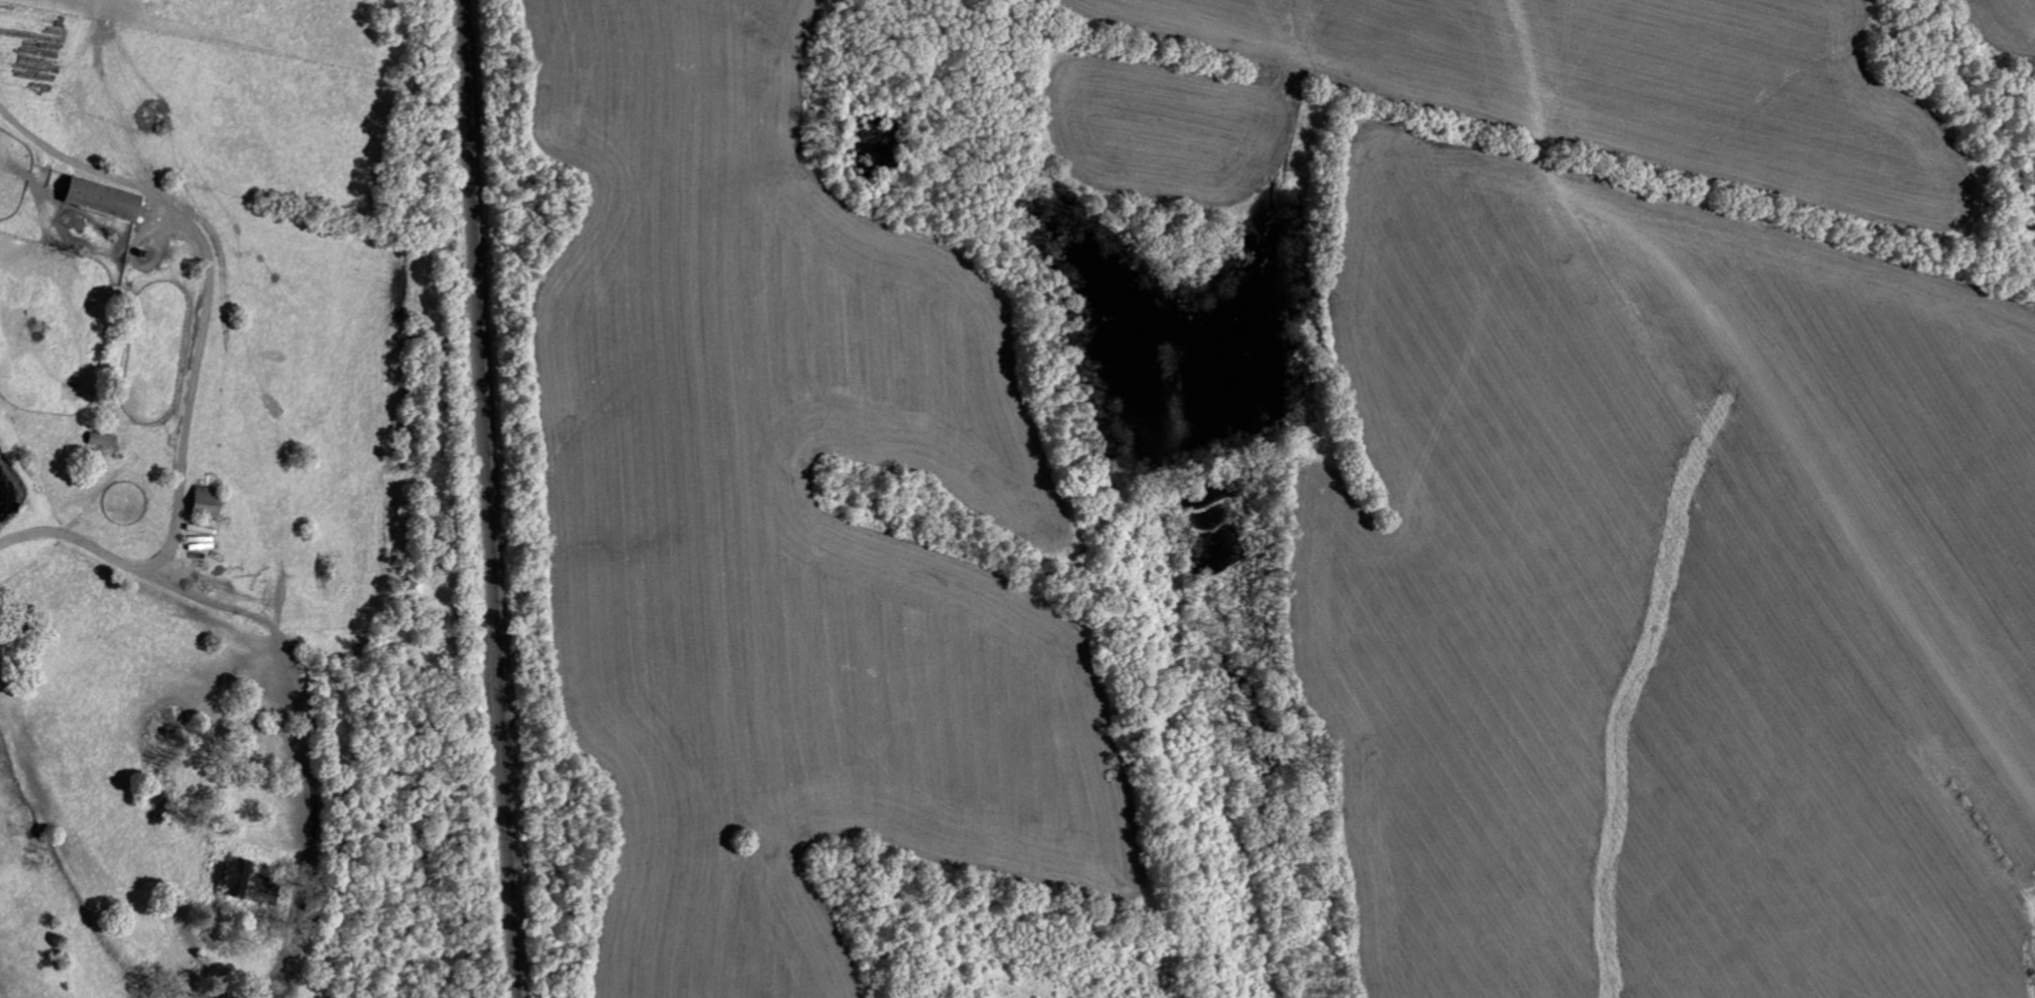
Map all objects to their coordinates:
building: (96, 199)
road: (171, 371)
building: (98, 440)
railway: (492, 498)
building: (201, 500)
road: (334, 725)
road: (147, 854)

